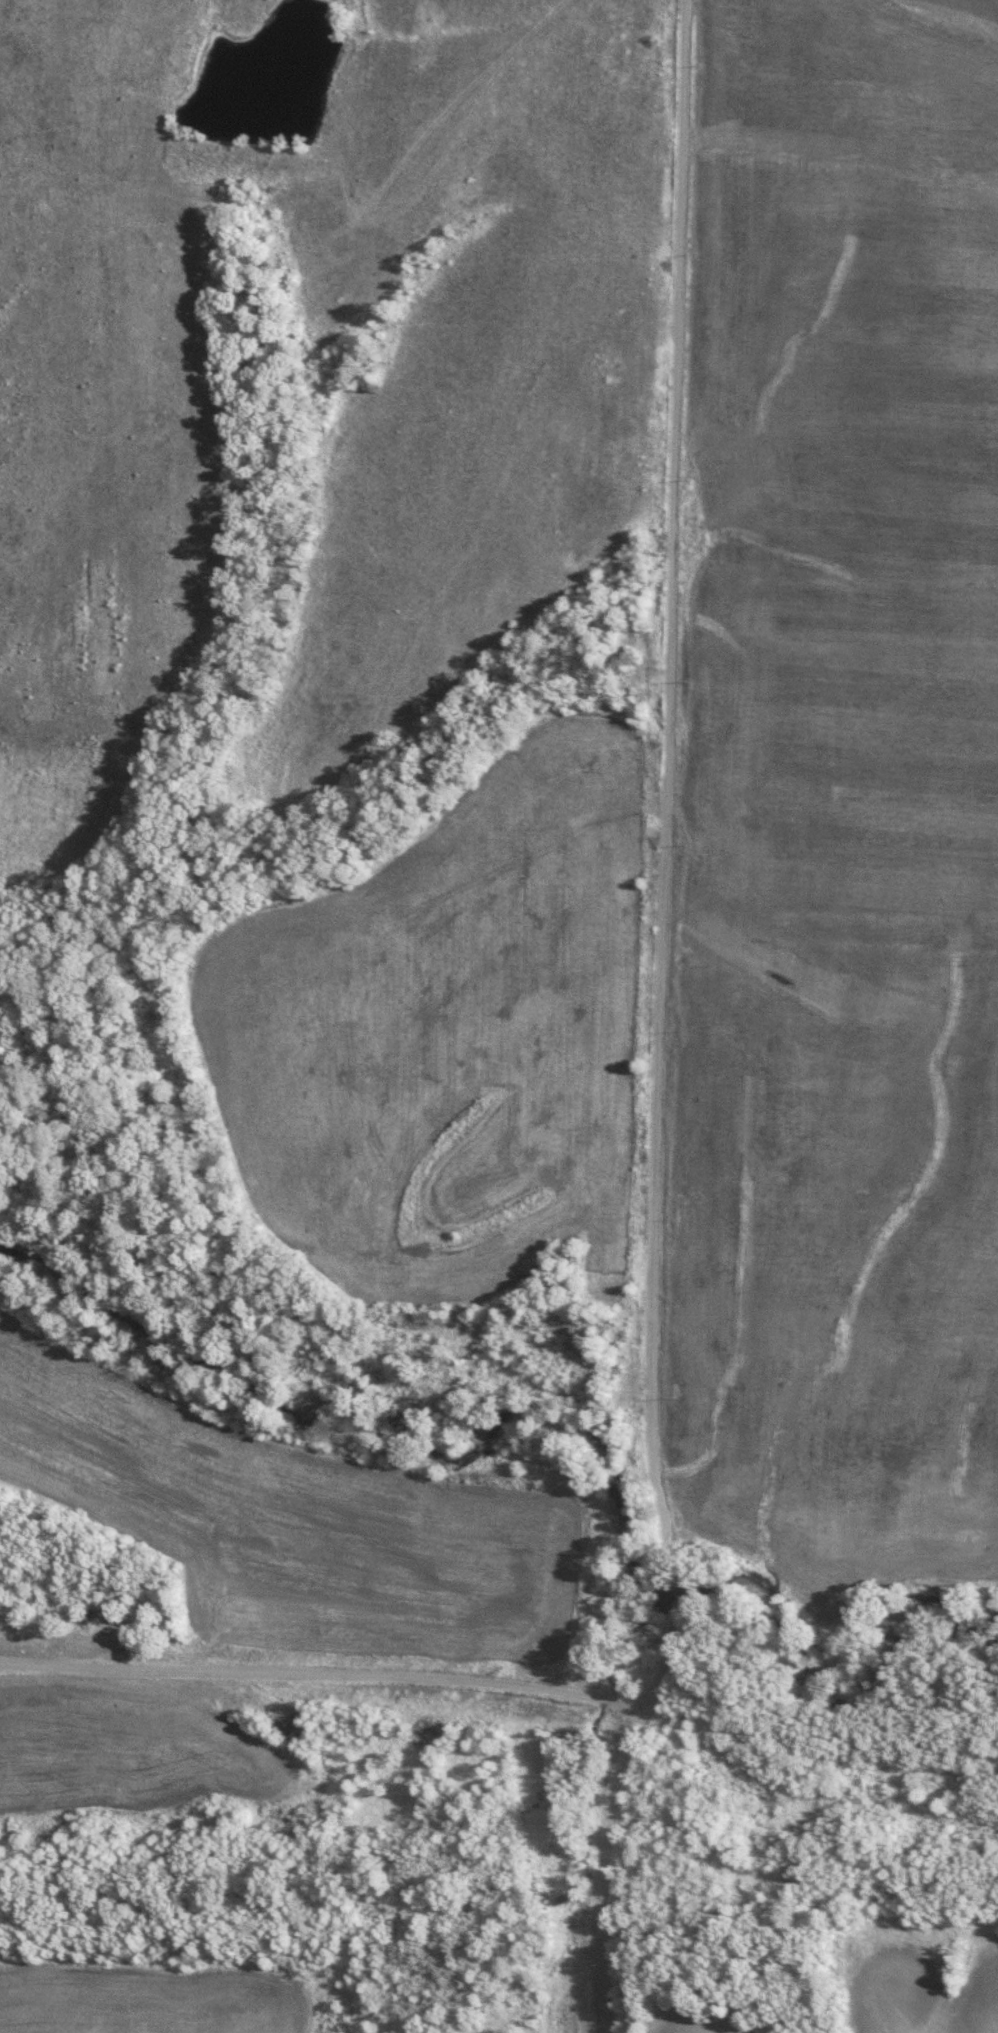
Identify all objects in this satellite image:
road: (667, 755)
road: (320, 1676)
road: (645, 1702)
road: (622, 1766)

